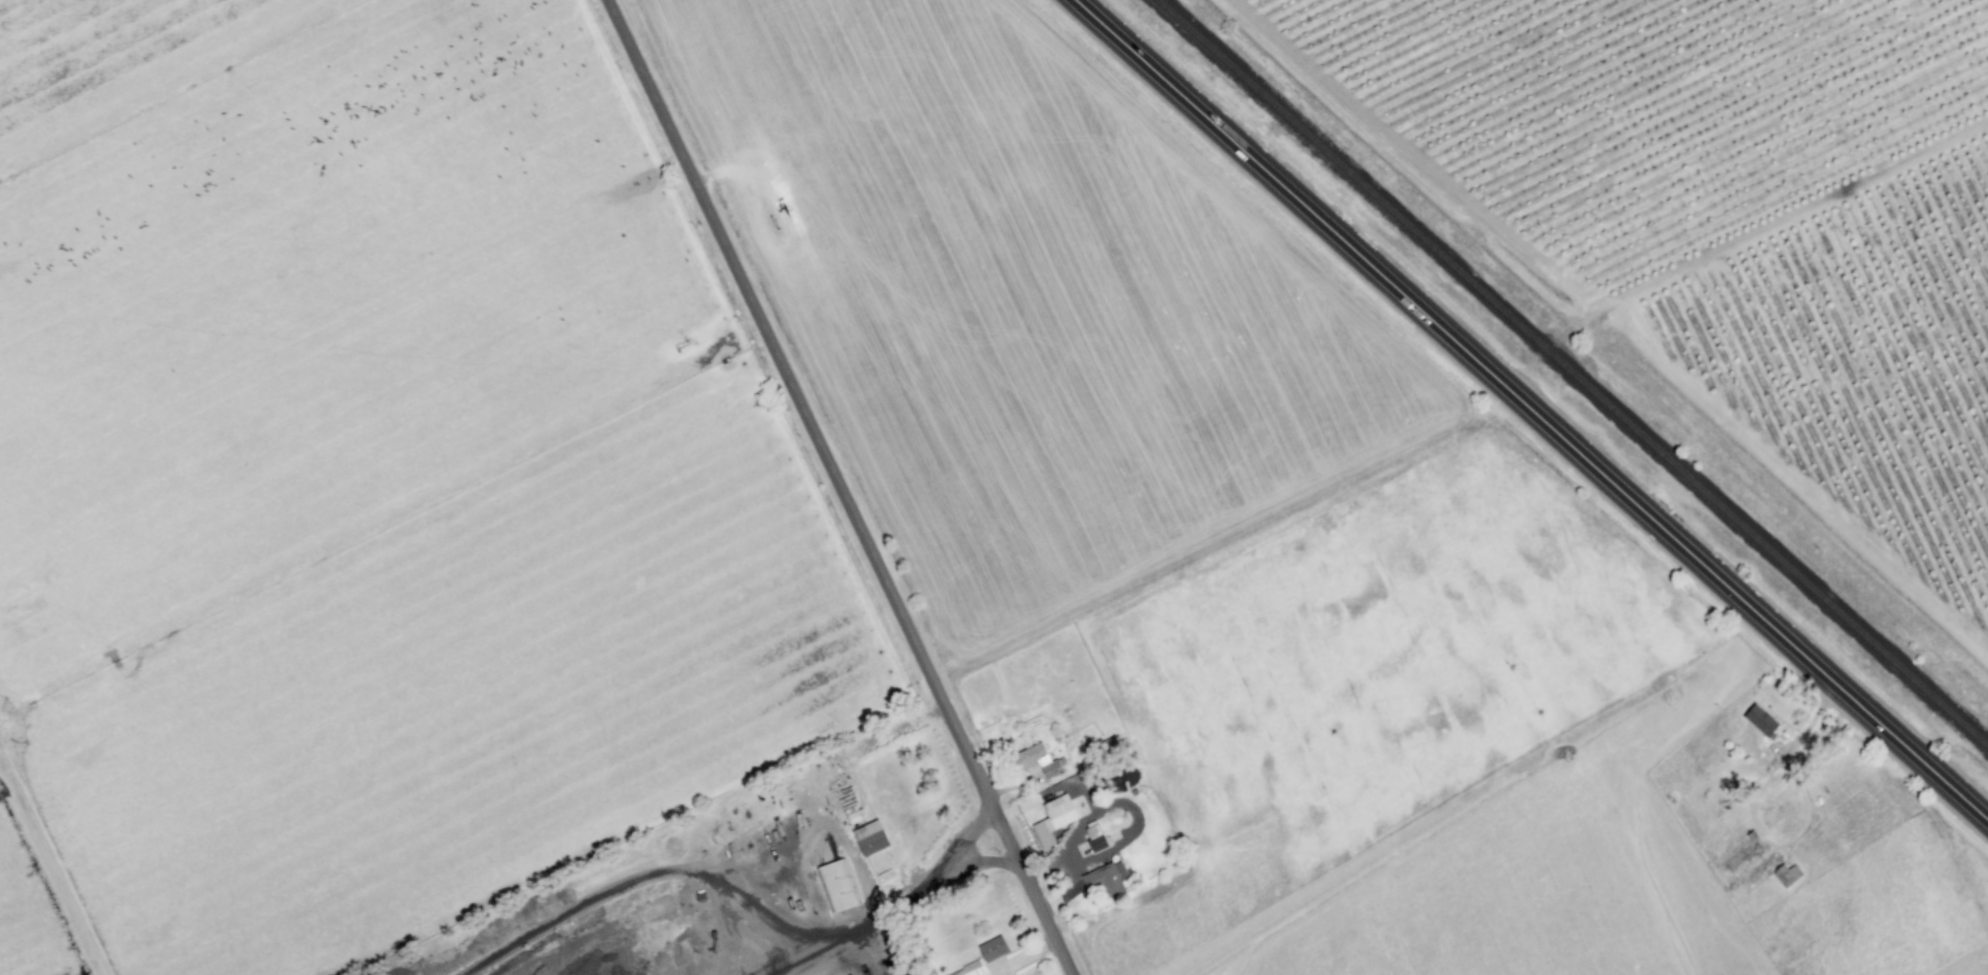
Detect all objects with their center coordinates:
road: (1738, 241)
railway: (1572, 373)
road: (1530, 410)
road: (839, 487)
building: (1762, 721)
building: (1040, 761)
building: (1055, 820)
building: (872, 838)
building: (1097, 843)
building: (1107, 878)
road: (915, 883)
building: (993, 949)
building: (969, 970)

